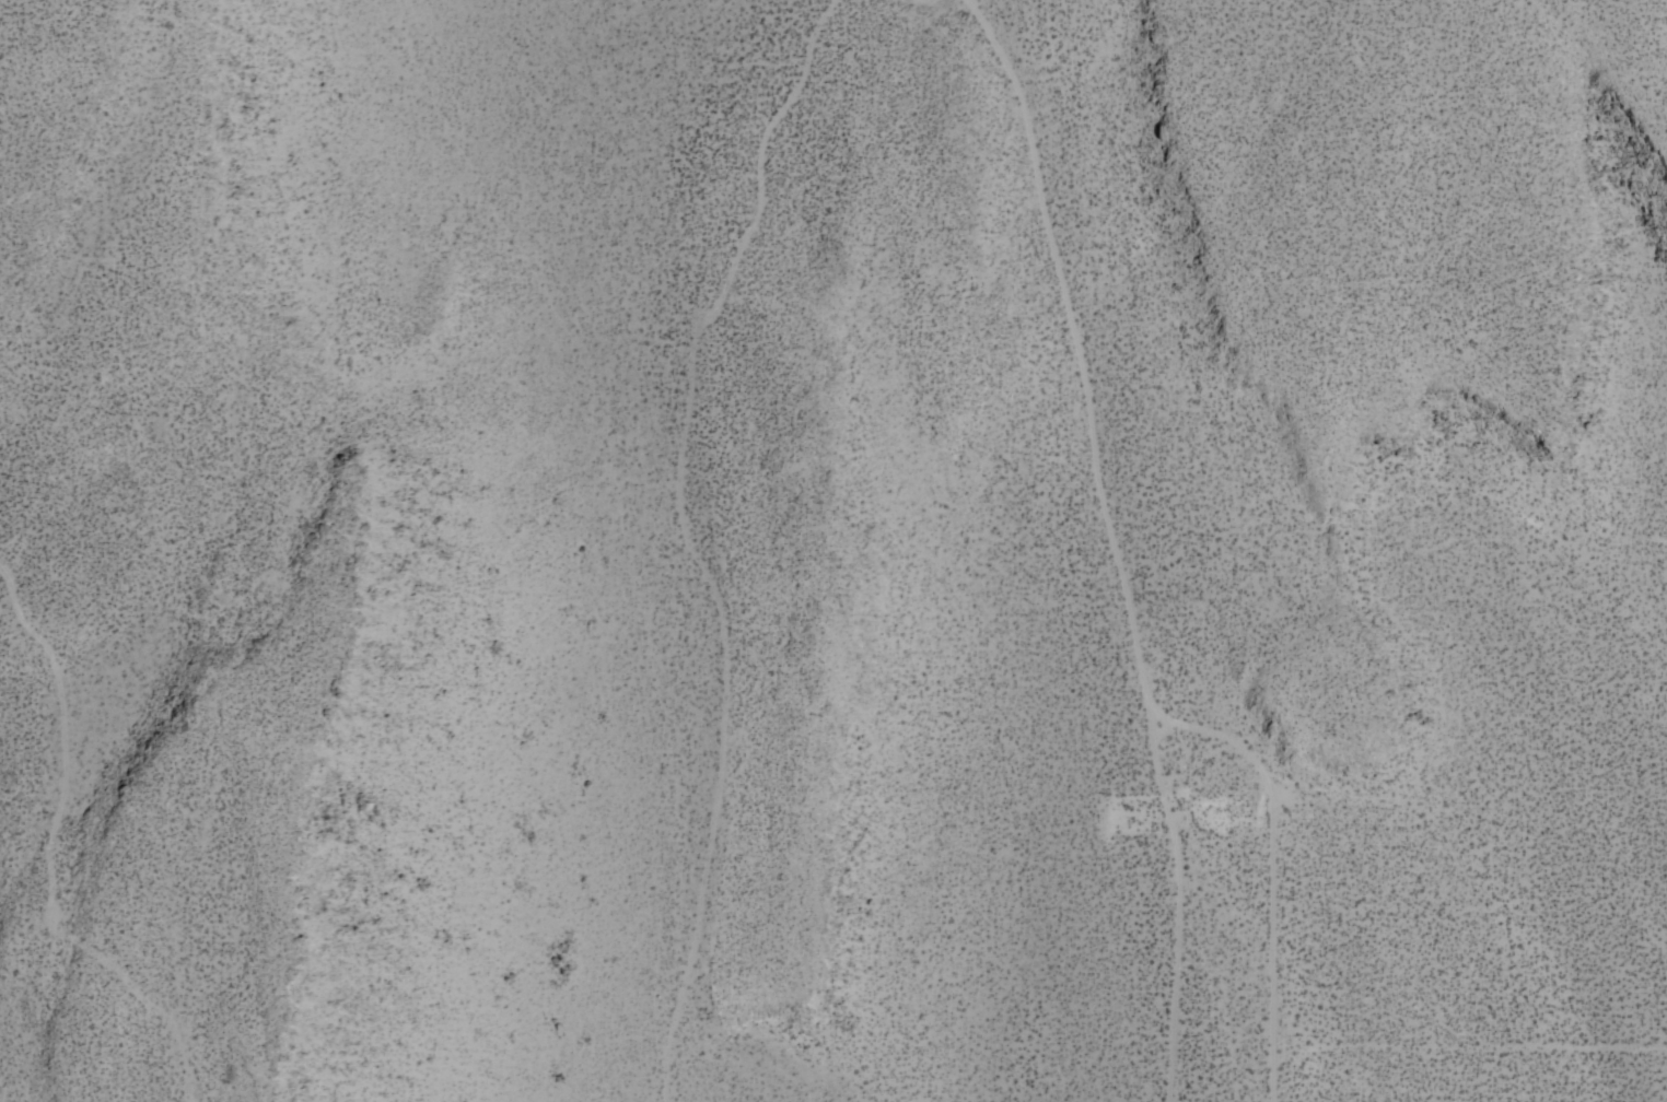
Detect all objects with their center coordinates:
road: (1120, 539)
road: (712, 540)
road: (1287, 857)
road: (1480, 1042)

